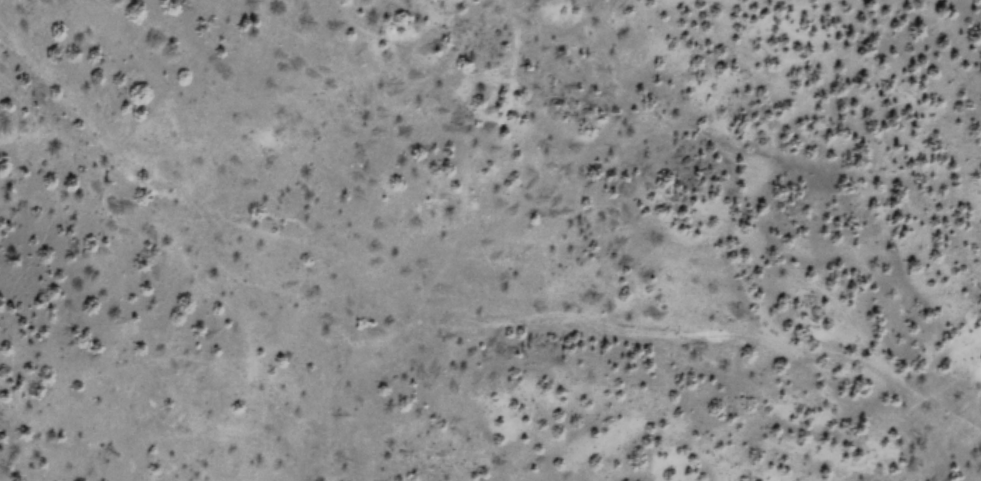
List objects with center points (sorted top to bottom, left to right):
road: (363, 280)

